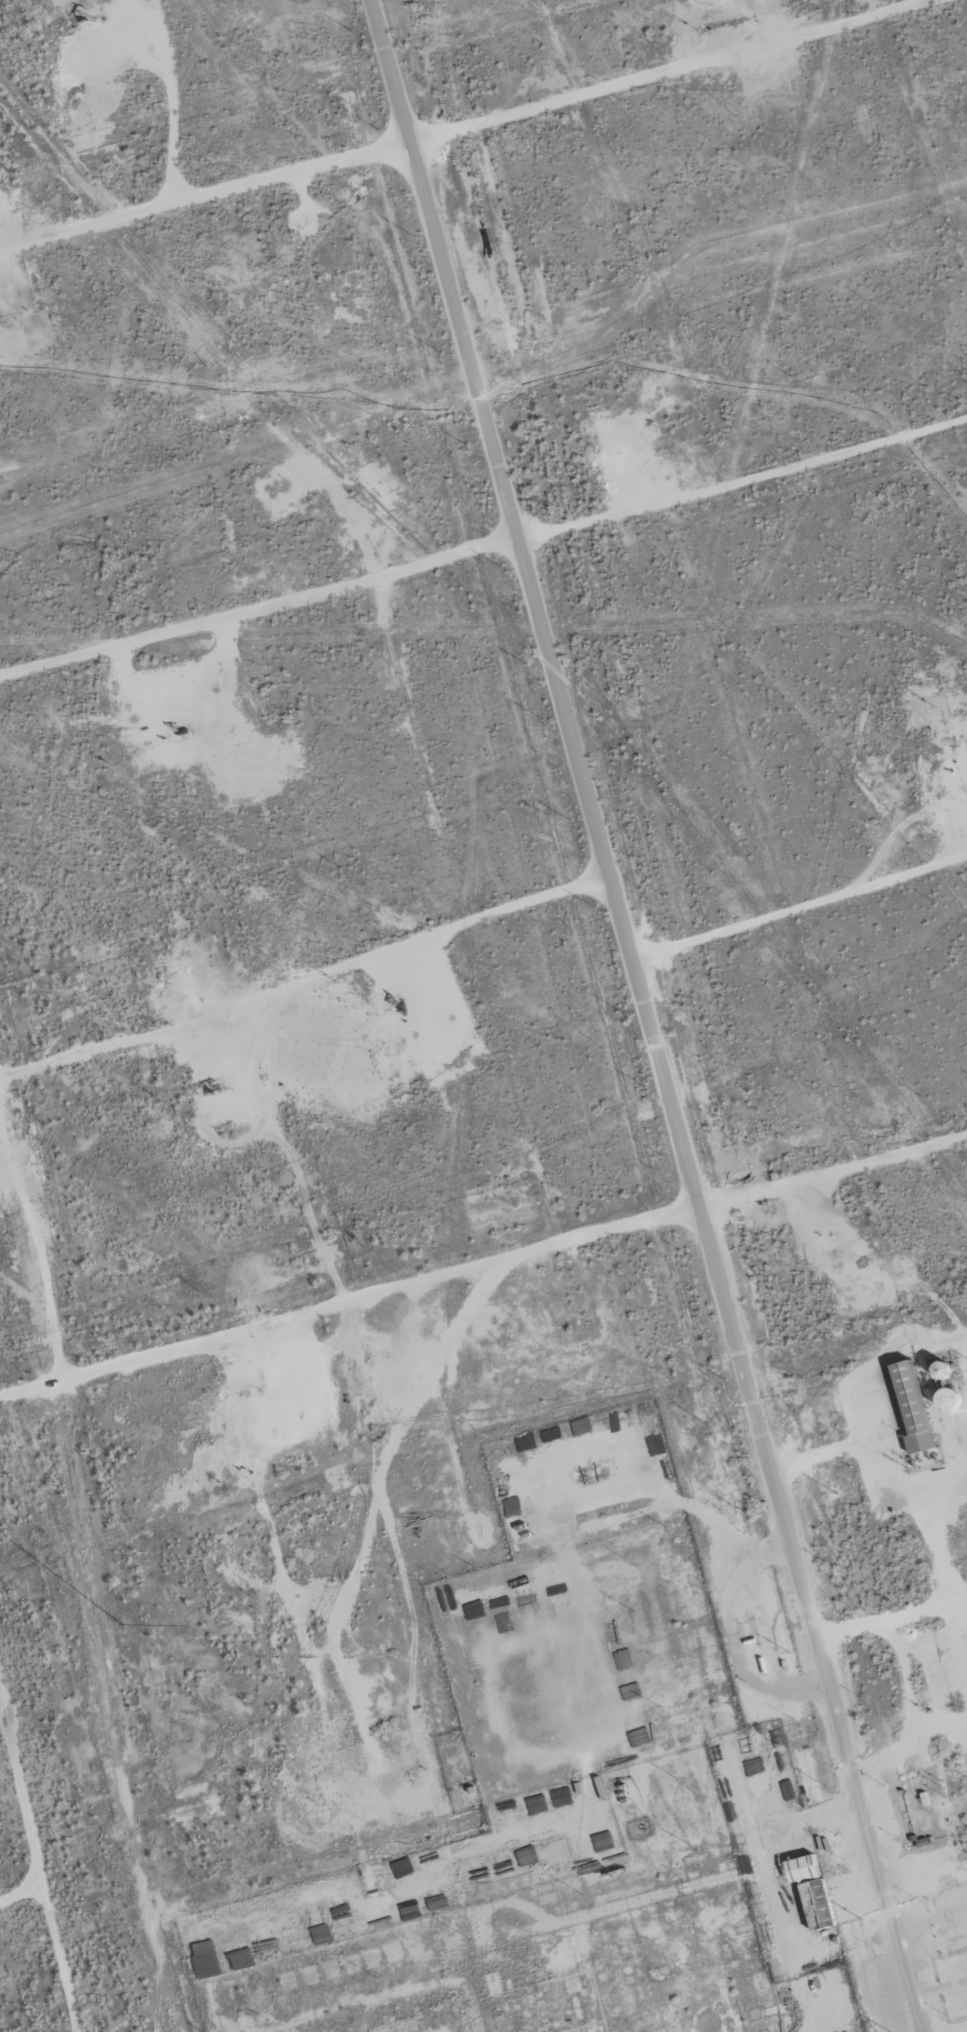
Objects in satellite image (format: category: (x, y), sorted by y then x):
road: (260, 606)
road: (646, 1015)
road: (49, 1319)
building: (910, 1406)
building: (809, 1890)
road: (935, 1983)

